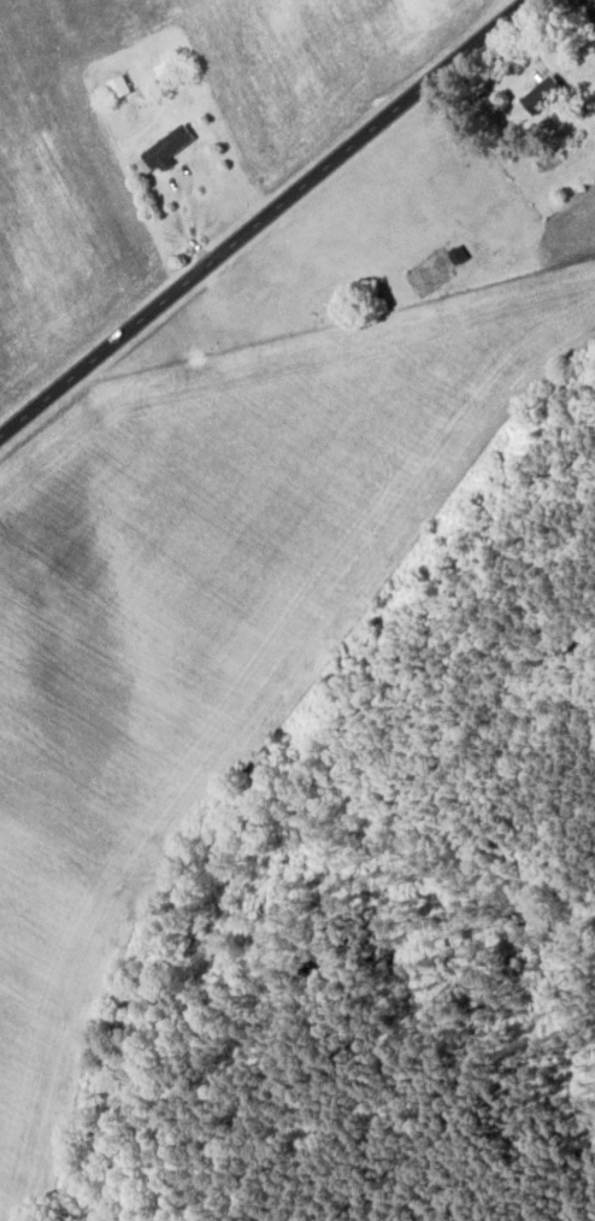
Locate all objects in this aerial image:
building: (116, 89)
building: (537, 96)
building: (165, 149)
road: (260, 217)

